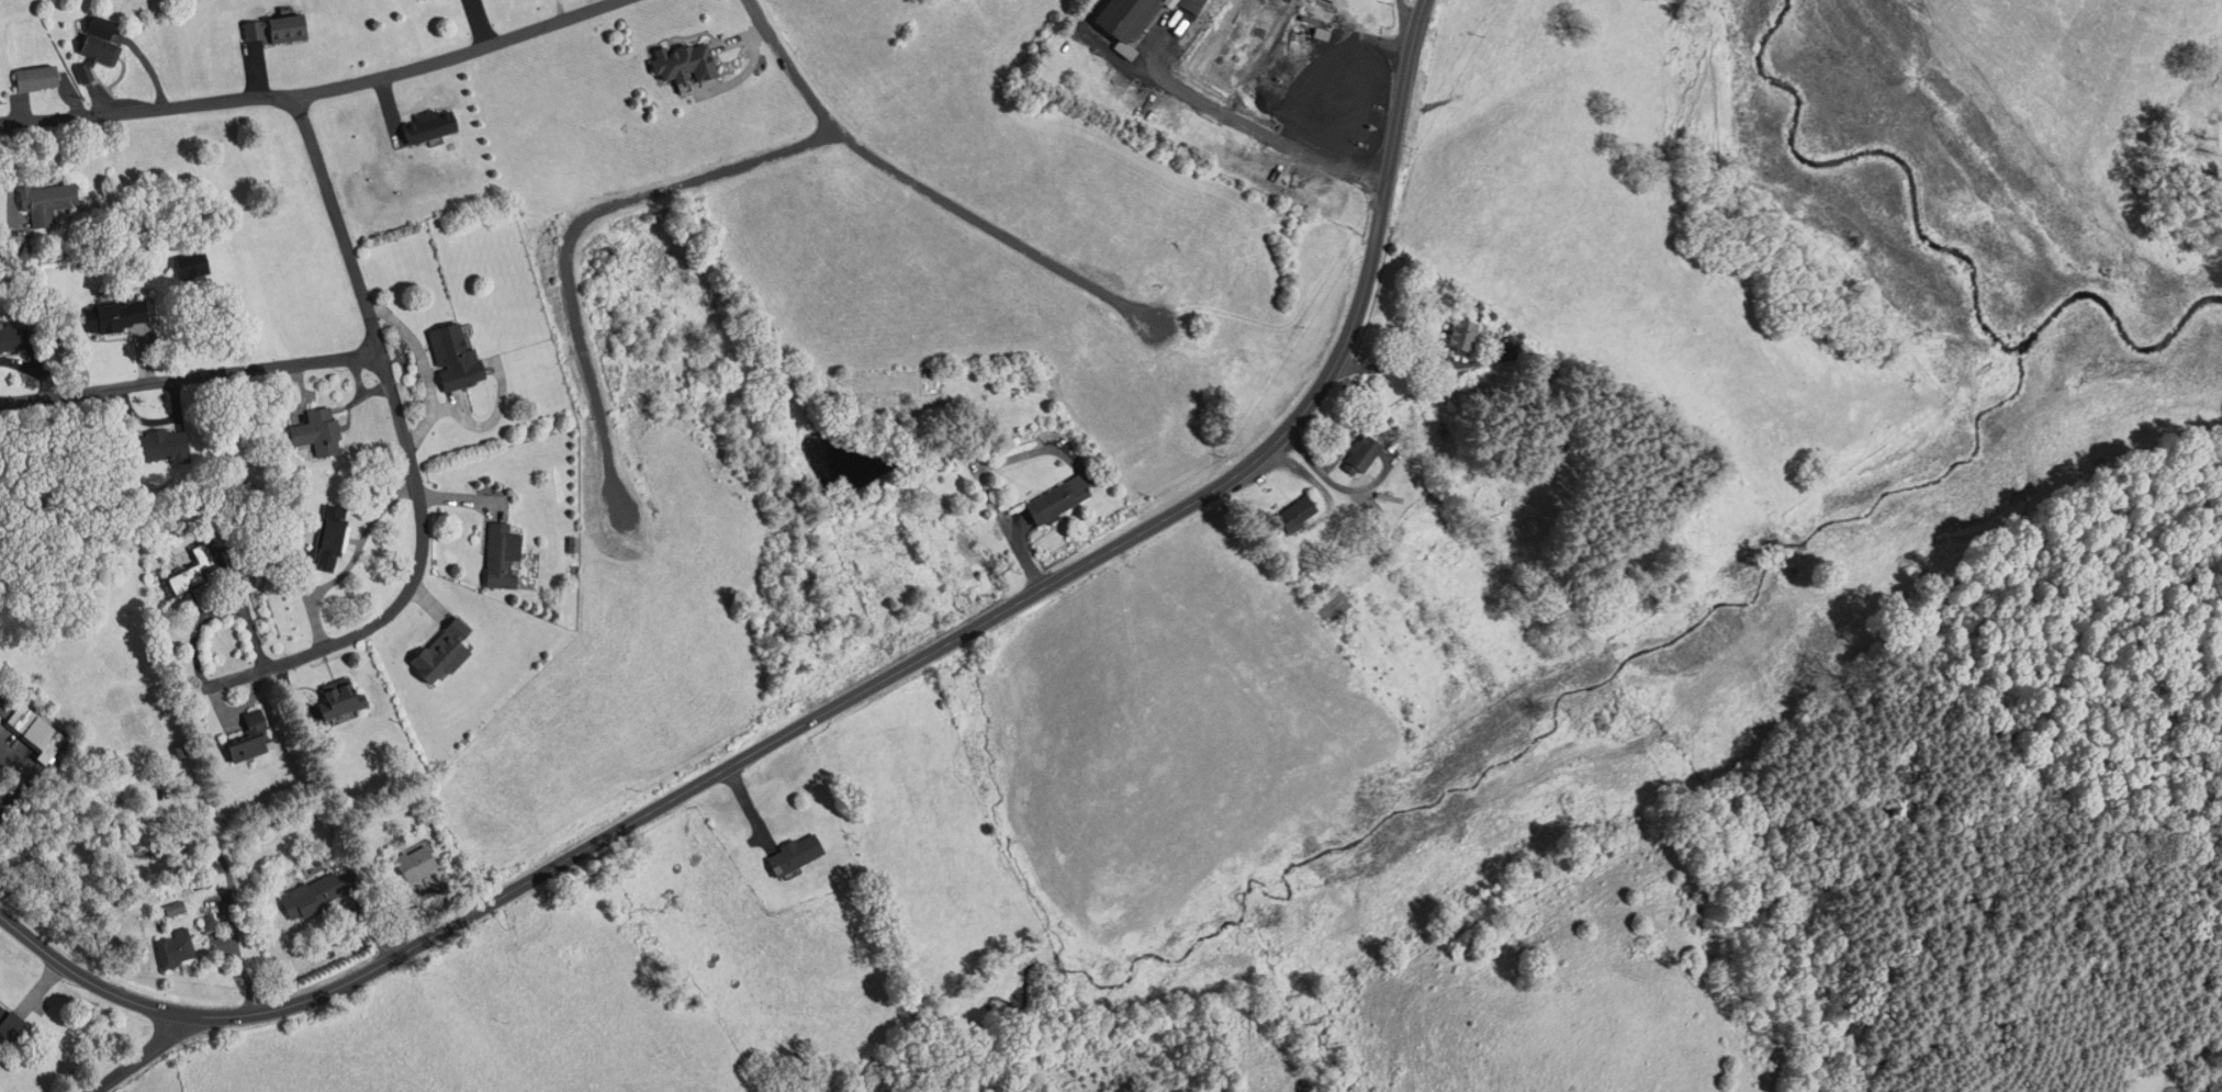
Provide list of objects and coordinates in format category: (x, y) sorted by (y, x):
building: (422, 0)
building: (1121, 15)
building: (272, 26)
road: (1406, 27)
building: (1282, 29)
building: (102, 55)
building: (681, 61)
road: (425, 64)
building: (42, 77)
road: (116, 113)
building: (425, 124)
road: (924, 190)
building: (55, 201)
road: (572, 226)
building: (188, 267)
building: (113, 315)
building: (1461, 335)
building: (12, 337)
building: (452, 350)
road: (189, 379)
building: (314, 429)
building: (157, 446)
road: (407, 447)
building: (1362, 454)
road: (1243, 464)
building: (1058, 495)
building: (1294, 510)
building: (324, 537)
building: (501, 554)
building: (191, 567)
building: (440, 648)
building: (335, 701)
building: (36, 725)
building: (248, 736)
building: (793, 853)
building: (414, 860)
building: (311, 893)
building: (173, 947)
road: (407, 949)
building: (12, 1026)
road: (142, 1055)

